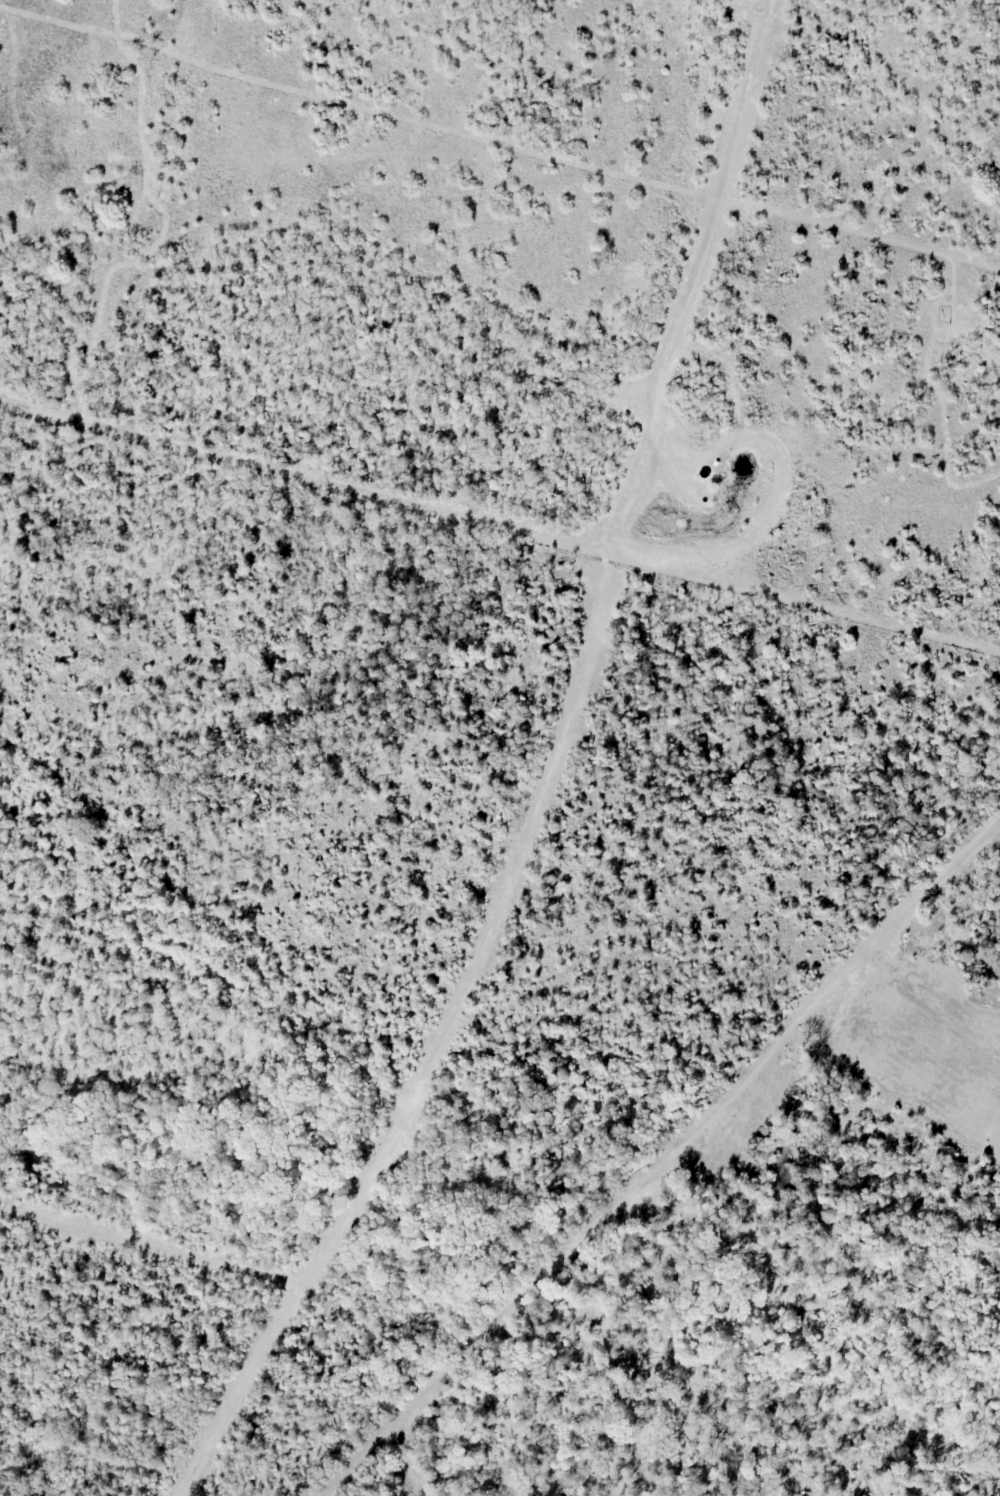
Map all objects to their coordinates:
park: (941, 313)

